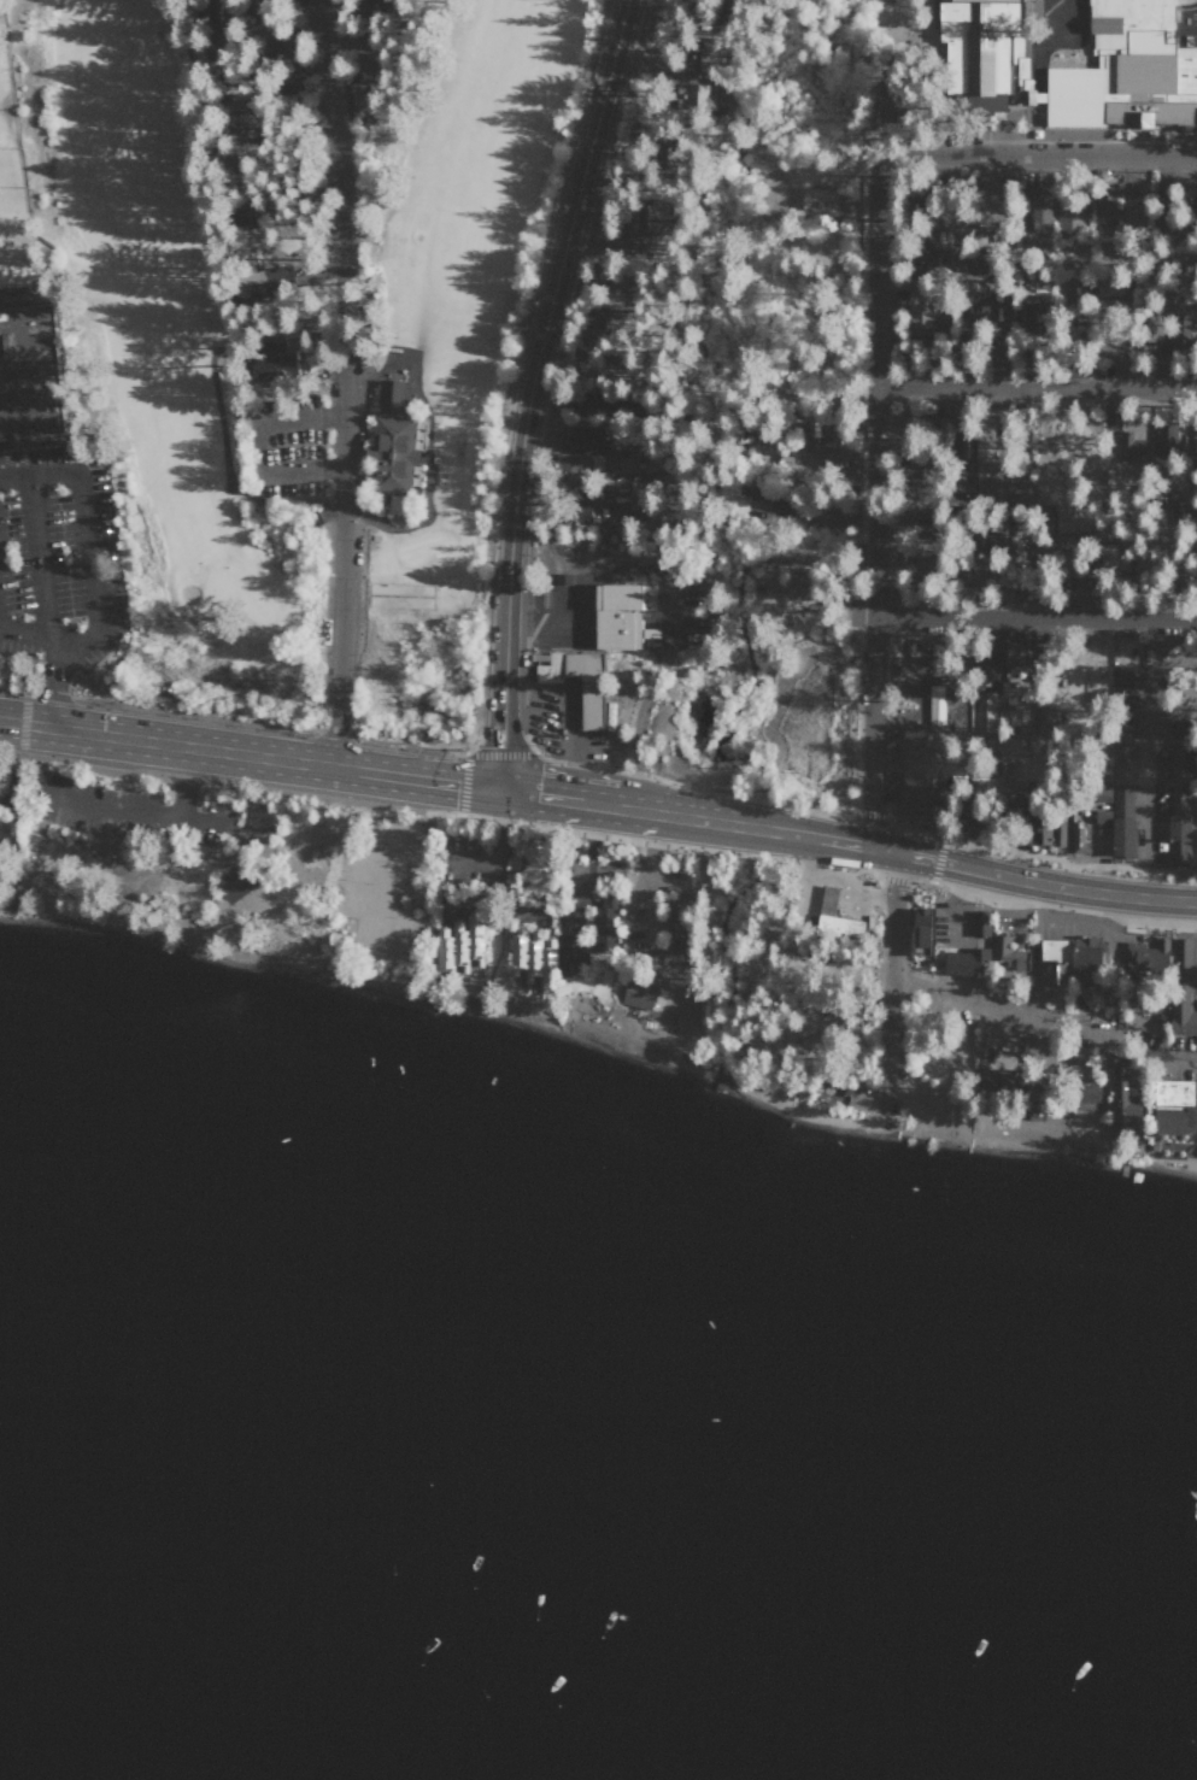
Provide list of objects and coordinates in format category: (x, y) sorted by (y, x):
building: (212, 13)
building: (979, 46)
building: (696, 54)
building: (1026, 81)
building: (1131, 84)
building: (700, 95)
building: (237, 124)
road: (1038, 159)
building: (817, 200)
building: (1104, 202)
building: (240, 207)
building: (1038, 212)
building: (1069, 213)
building: (645, 216)
building: (1105, 222)
building: (923, 241)
building: (251, 284)
building: (1175, 284)
building: (920, 305)
building: (599, 312)
building: (1029, 316)
building: (1146, 328)
building: (1180, 329)
building: (1107, 348)
building: (581, 366)
park: (430, 368)
building: (31, 377)
road: (345, 382)
road: (1033, 387)
road: (530, 390)
building: (392, 395)
building: (587, 401)
road: (303, 419)
building: (943, 430)
building: (1167, 434)
building: (815, 435)
building: (583, 439)
building: (1126, 443)
building: (388, 457)
building: (612, 463)
building: (567, 468)
building: (915, 468)
road: (304, 469)
building: (992, 475)
building: (759, 498)
road: (870, 501)
building: (575, 512)
building: (617, 512)
building: (1070, 519)
building: (992, 540)
road: (36, 558)
parking lot: (58, 563)
road: (94, 565)
building: (796, 586)
building: (615, 616)
road: (1033, 617)
building: (1015, 656)
road: (59, 685)
road: (12, 692)
road: (921, 692)
building: (589, 706)
road: (24, 709)
building: (982, 712)
road: (198, 715)
road: (567, 716)
building: (1045, 719)
road: (22, 738)
building: (1010, 742)
building: (1122, 742)
road: (407, 744)
building: (927, 747)
road: (501, 753)
road: (250, 754)
road: (1149, 757)
building: (1180, 765)
building: (1099, 771)
road: (183, 782)
road: (464, 783)
traffic signals: (500, 792)
building: (1101, 793)
building: (1193, 800)
building: (1101, 813)
parking lot: (140, 815)
road: (141, 815)
building: (262, 816)
road: (682, 819)
building: (6, 824)
building: (1039, 832)
building: (1058, 832)
building: (1079, 836)
building: (1123, 836)
building: (1178, 838)
road: (500, 853)
building: (535, 866)
park: (231, 876)
building: (237, 880)
road: (1029, 881)
road: (821, 895)
building: (827, 901)
building: (606, 918)
building: (980, 921)
building: (671, 924)
building: (920, 928)
building: (476, 936)
building: (574, 938)
building: (459, 942)
building: (518, 947)
building: (444, 948)
building: (1008, 952)
building: (1087, 953)
building: (534, 954)
building: (1151, 957)
building: (968, 959)
building: (1055, 959)
building: (550, 961)
road: (890, 980)
building: (1181, 987)
building: (642, 991)
building: (1089, 997)
building: (1146, 1003)
road: (1043, 1023)
building: (991, 1081)
building: (831, 1089)
building: (1038, 1091)
building: (1084, 1095)
building: (1173, 1105)
building: (1123, 1106)

